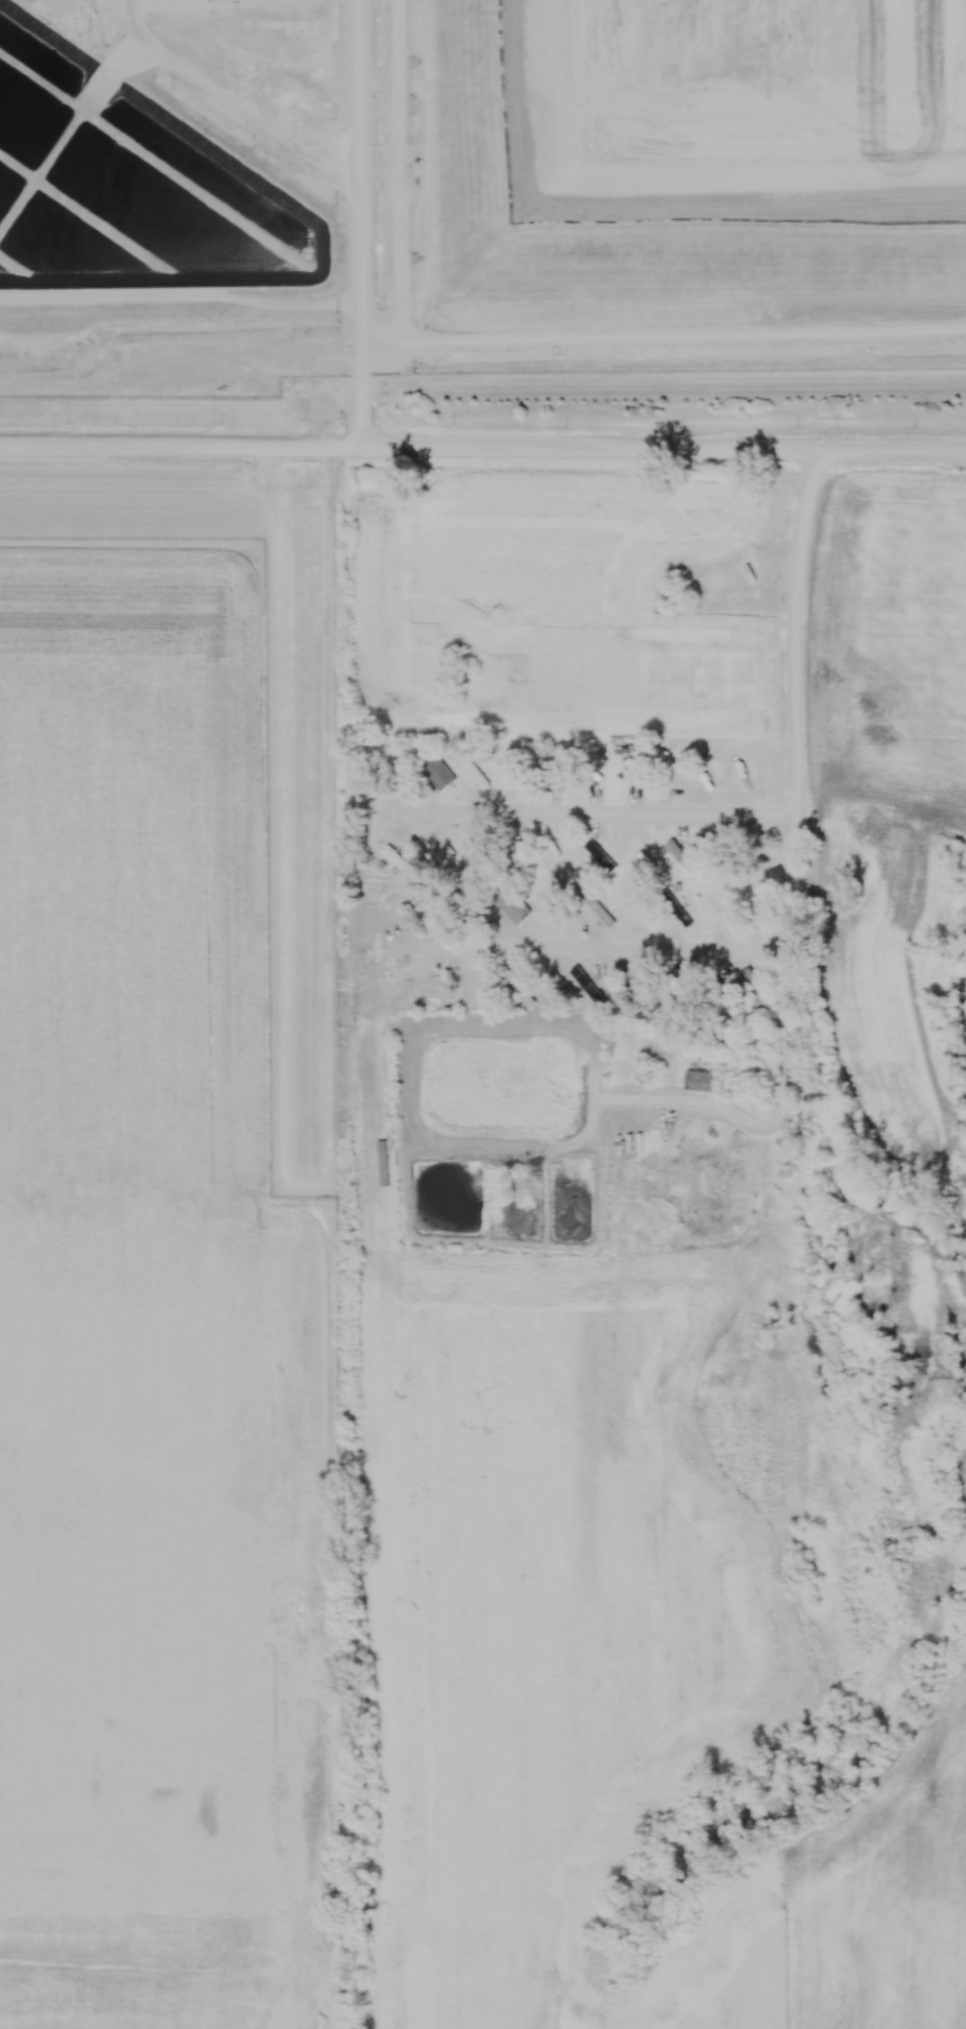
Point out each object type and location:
road: (230, 100)
road: (359, 223)
road: (483, 446)
road: (789, 690)
road: (590, 814)
road: (589, 949)
road: (785, 1074)

